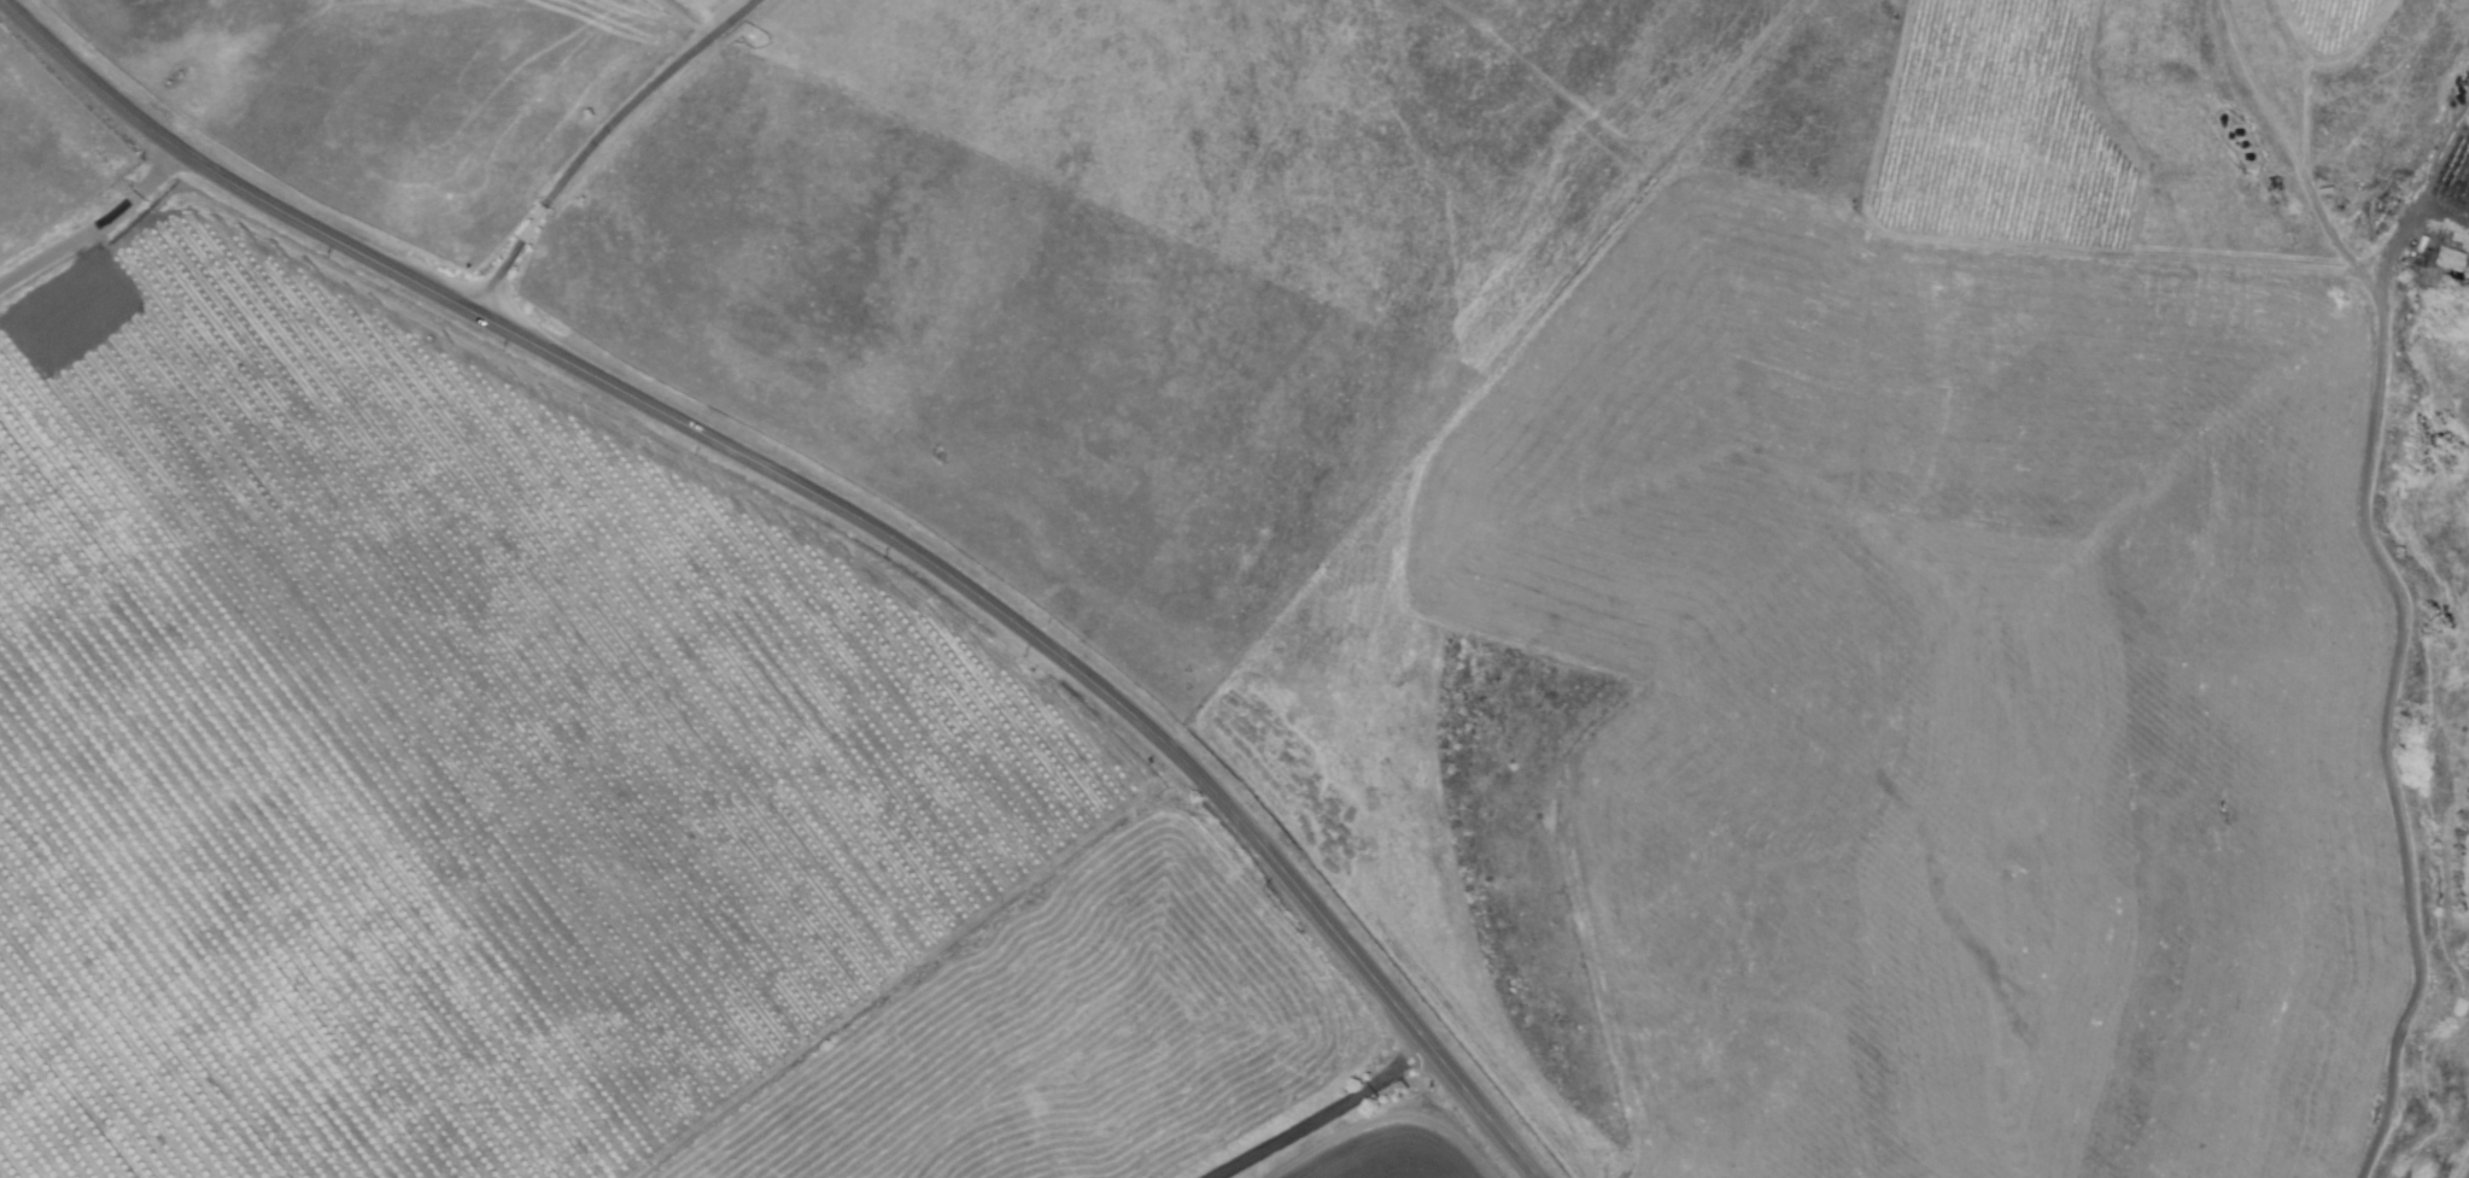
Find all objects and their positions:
road: (601, 140)
road: (95, 230)
road: (830, 506)
crop: (441, 748)
crop: (1078, 1038)
road: (1321, 1117)
crop: (1399, 1145)

